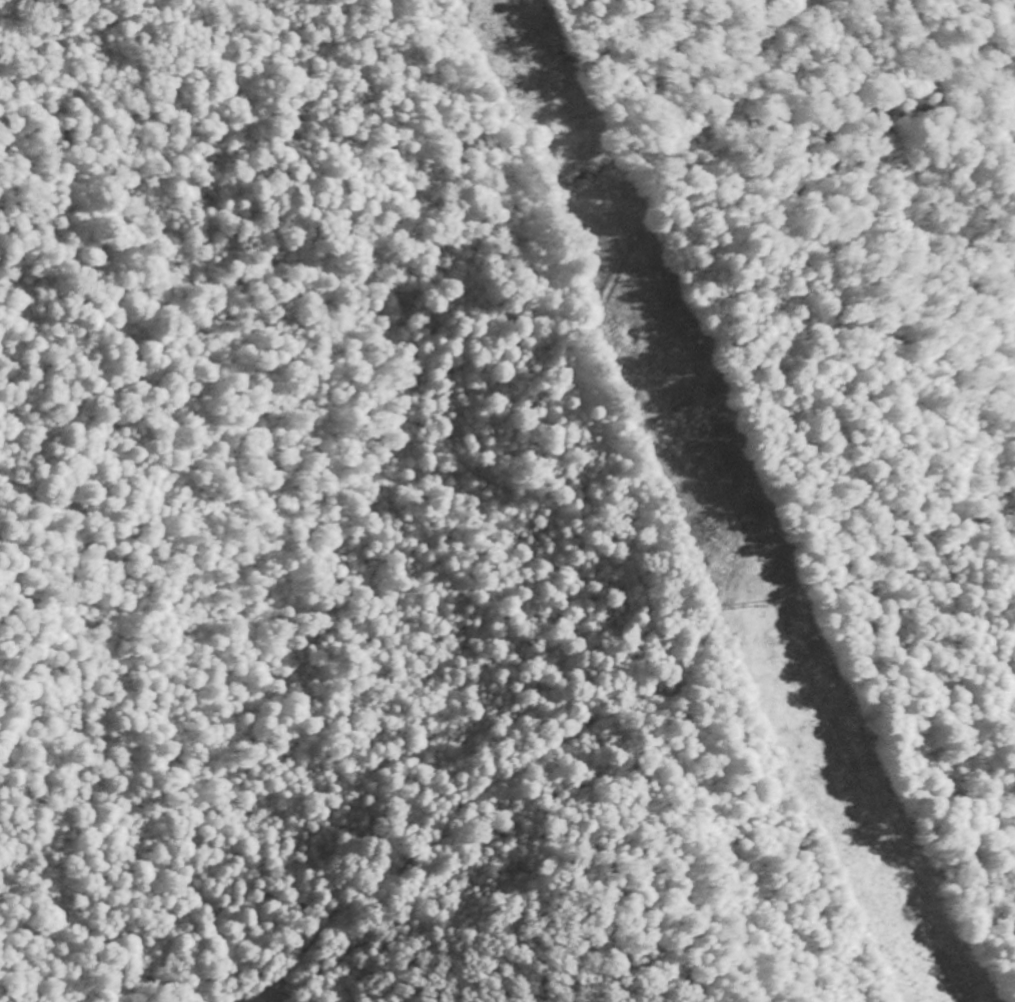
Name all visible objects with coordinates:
power tower: (771, 603)

